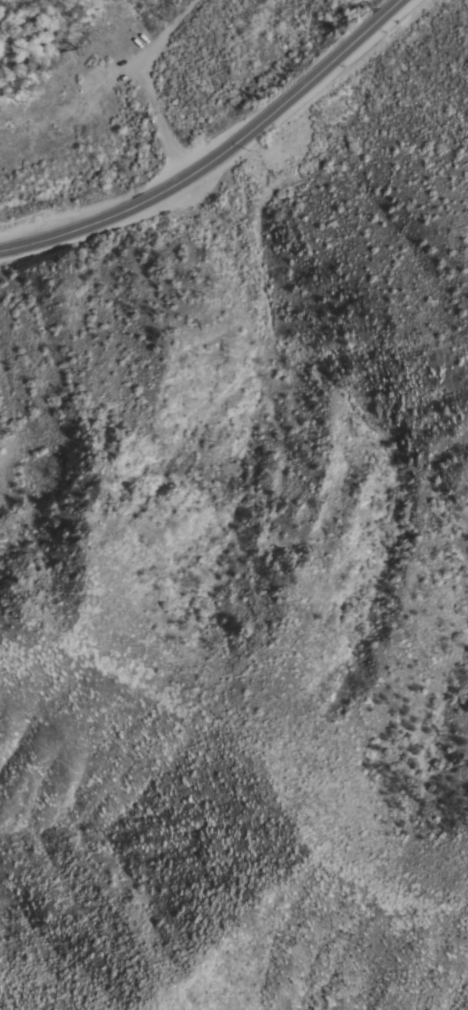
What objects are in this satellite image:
road: (219, 157)

